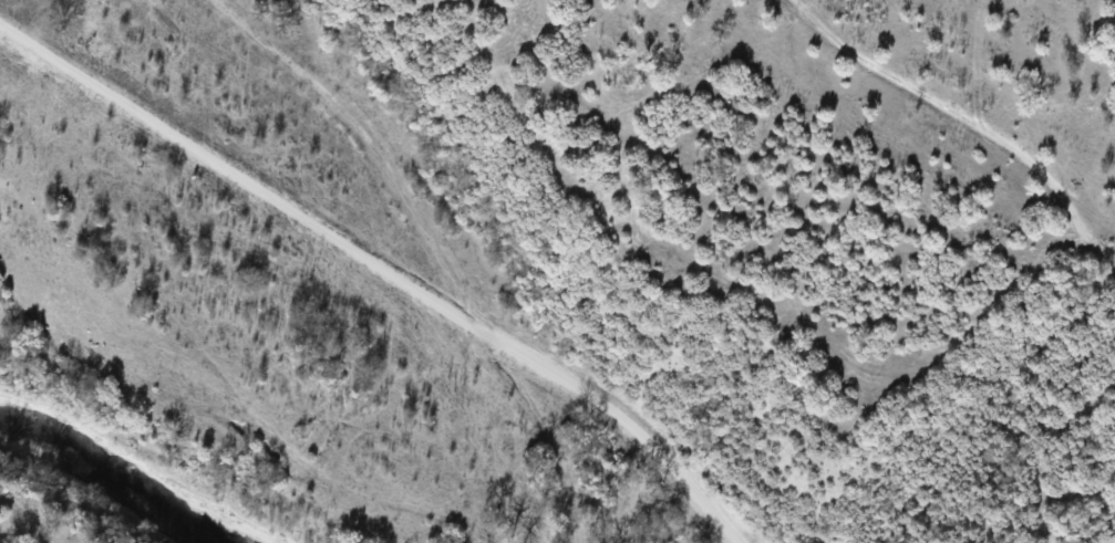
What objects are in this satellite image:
road: (379, 263)
river: (110, 477)

